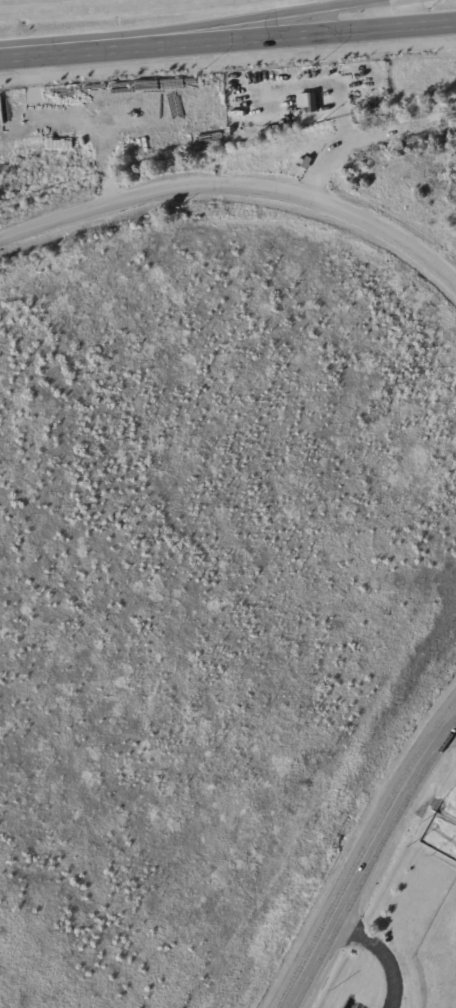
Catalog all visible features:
road: (233, 21)
road: (274, 33)
road: (47, 52)
road: (227, 59)
building: (320, 85)
road: (369, 137)
road: (153, 191)
road: (390, 232)
road: (451, 722)
road: (365, 855)
road: (381, 951)

